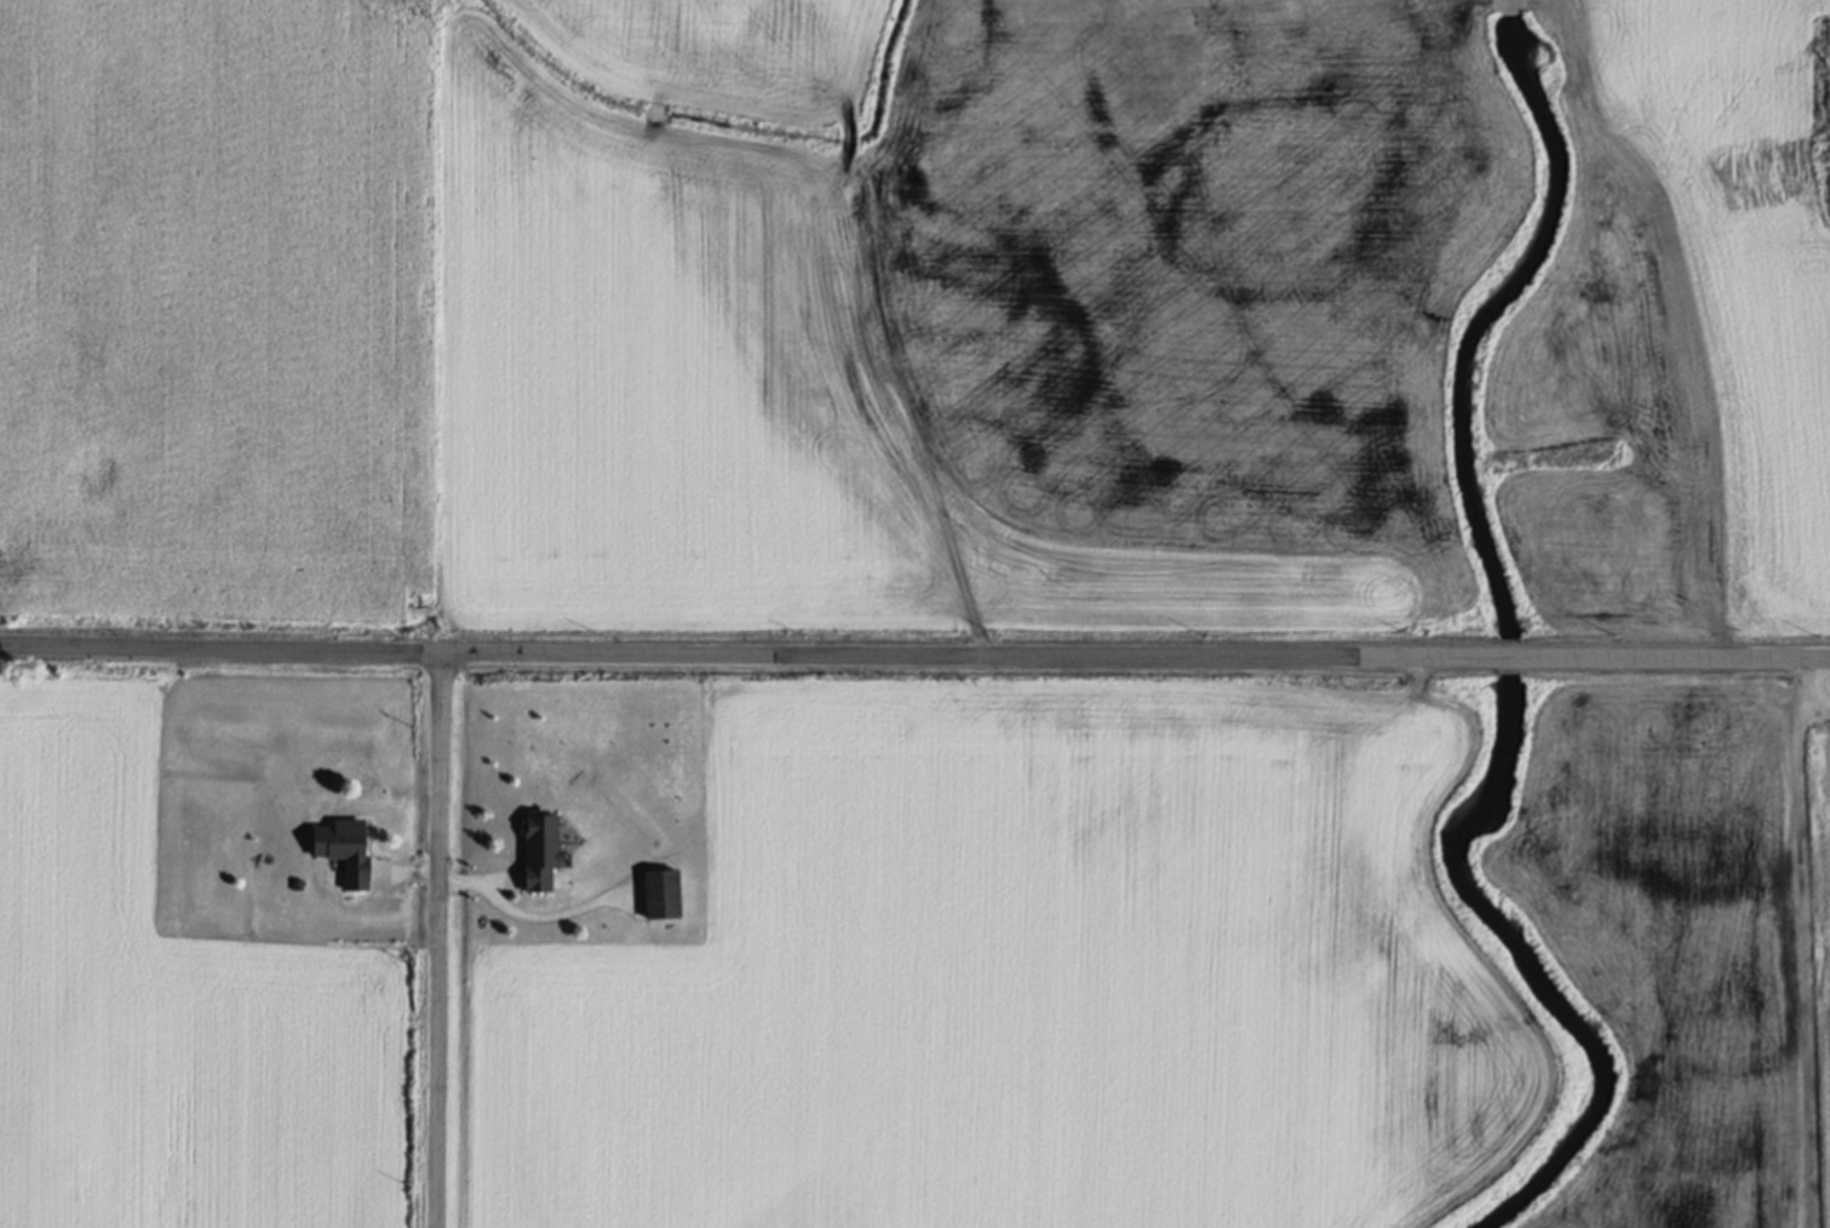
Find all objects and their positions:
road: (914, 656)
road: (1817, 688)
building: (339, 853)
building: (534, 855)
building: (658, 899)
road: (441, 940)

